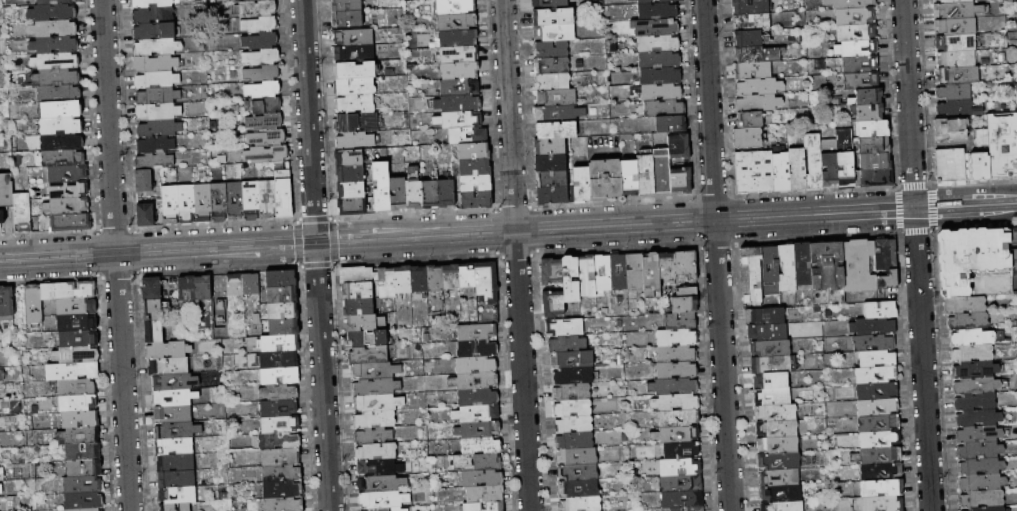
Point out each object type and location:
building: (255, 0)
building: (946, 1)
building: (54, 2)
building: (644, 2)
building: (150, 3)
building: (847, 3)
building: (549, 4)
building: (344, 5)
building: (454, 6)
building: (749, 6)
building: (257, 9)
building: (955, 10)
building: (658, 11)
building: (52, 12)
building: (151, 14)
building: (854, 16)
building: (553, 17)
building: (345, 19)
building: (750, 22)
building: (444, 23)
building: (259, 25)
building: (953, 26)
building: (53, 28)
building: (655, 28)
building: (152, 30)
building: (855, 32)
building: (553, 33)
building: (340, 38)
building: (456, 38)
building: (746, 38)
building: (260, 41)
building: (953, 42)
building: (658, 43)
building: (54, 44)
building: (155, 47)
building: (855, 48)
building: (549, 50)
building: (353, 54)
building: (457, 54)
building: (756, 54)
building: (261, 57)
building: (954, 59)
building: (54, 60)
building: (658, 60)
building: (154, 63)
building: (858, 64)
building: (551, 65)
building: (353, 70)
building: (458, 70)
building: (752, 70)
building: (261, 74)
building: (956, 75)
building: (660, 76)
building: (56, 77)
building: (155, 80)
building: (859, 80)
building: (552, 81)
building: (353, 86)
building: (758, 86)
building: (458, 87)
building: (262, 90)
building: (660, 92)
building: (951, 92)
building: (58, 93)
building: (156, 96)
building: (867, 96)
building: (556, 97)
building: (756, 102)
building: (456, 103)
building: (353, 104)
road: (908, 104)
building: (266, 106)
building: (663, 108)
building: (956, 108)
building: (61, 109)
road: (708, 109)
building: (157, 112)
building: (869, 112)
building: (558, 113)
road: (508, 115)
building: (457, 119)
building: (748, 119)
road: (308, 120)
building: (264, 122)
building: (345, 123)
building: (670, 124)
building: (60, 125)
road: (108, 126)
building: (158, 128)
building: (871, 129)
building: (948, 129)
building: (555, 130)
building: (456, 135)
building: (746, 137)
building: (979, 137)
building: (266, 138)
building: (352, 140)
building: (61, 141)
building: (154, 144)
building: (872, 144)
building: (1002, 145)
building: (549, 147)
building: (679, 147)
building: (472, 151)
building: (266, 155)
building: (62, 157)
building: (347, 158)
building: (843, 158)
building: (152, 161)
building: (812, 161)
building: (873, 161)
building: (550, 163)
building: (951, 166)
building: (979, 166)
building: (473, 167)
building: (796, 169)
building: (828, 169)
building: (661, 170)
building: (752, 171)
building: (780, 171)
building: (64, 173)
building: (348, 173)
building: (282, 174)
building: (645, 175)
building: (628, 178)
building: (873, 178)
building: (551, 179)
building: (604, 179)
building: (680, 180)
building: (143, 181)
road: (975, 181)
building: (474, 183)
road: (914, 184)
building: (581, 185)
building: (379, 186)
building: (57, 190)
building: (349, 190)
road: (962, 190)
road: (815, 191)
building: (396, 193)
building: (444, 193)
building: (5, 194)
building: (412, 194)
building: (428, 194)
building: (551, 195)
building: (283, 197)
road: (713, 197)
railway: (937, 198)
building: (266, 199)
road: (935, 199)
building: (250, 200)
building: (474, 200)
building: (238, 201)
road: (612, 202)
building: (195, 203)
building: (222, 203)
building: (66, 204)
building: (180, 204)
building: (173, 205)
road: (965, 205)
building: (350, 206)
road: (934, 207)
road: (514, 208)
road: (898, 209)
building: (22, 212)
road: (414, 213)
road: (814, 214)
railway: (982, 214)
building: (145, 215)
road: (936, 216)
road: (314, 219)
road: (734, 219)
building: (70, 221)
road: (694, 221)
road: (964, 221)
road: (385, 223)
road: (214, 224)
road: (614, 225)
railway: (508, 228)
road: (976, 228)
road: (114, 229)
railway: (337, 230)
road: (533, 230)
road: (916, 231)
road: (335, 232)
road: (497, 232)
road: (48, 233)
railway: (508, 234)
road: (415, 236)
road: (817, 237)
road: (333, 240)
road: (297, 242)
road: (715, 243)
road: (215, 247)
road: (615, 248)
railway: (293, 250)
building: (974, 250)
road: (134, 252)
road: (295, 252)
road: (98, 254)
road: (516, 254)
road: (5, 256)
road: (57, 256)
building: (1014, 258)
road: (315, 259)
road: (416, 259)
road: (246, 260)
building: (886, 263)
road: (316, 264)
building: (686, 264)
building: (803, 264)
building: (859, 265)
building: (667, 266)
building: (827, 266)
building: (787, 268)
road: (217, 271)
building: (770, 271)
building: (551, 272)
building: (618, 272)
building: (603, 273)
building: (635, 273)
building: (356, 275)
road: (117, 276)
building: (451, 276)
building: (467, 276)
building: (587, 276)
building: (751, 276)
building: (435, 278)
building: (281, 279)
building: (419, 279)
building: (571, 279)
road: (50, 280)
building: (403, 280)
building: (486, 280)
building: (387, 283)
building: (251, 284)
building: (652, 284)
building: (976, 284)
building: (235, 285)
road: (116, 286)
building: (152, 288)
building: (203, 288)
building: (187, 289)
building: (68, 290)
building: (358, 291)
building: (687, 292)
building: (282, 295)
building: (6, 301)
building: (34, 304)
building: (553, 304)
building: (685, 305)
building: (964, 305)
building: (77, 307)
building: (359, 307)
building: (153, 310)
building: (881, 310)
building: (283, 311)
building: (765, 316)
building: (681, 322)
building: (968, 322)
building: (77, 323)
building: (365, 323)
building: (283, 327)
building: (565, 327)
building: (873, 327)
building: (154, 332)
building: (476, 332)
building: (768, 332)
building: (367, 337)
building: (677, 338)
building: (973, 338)
building: (79, 339)
building: (874, 343)
building: (280, 344)
building: (567, 344)
building: (771, 348)
building: (477, 349)
building: (168, 350)
building: (369, 354)
building: (676, 354)
building: (973, 354)
building: (76, 355)
building: (878, 359)
building: (279, 360)
building: (573, 360)
road: (922, 360)
building: (476, 365)
road: (722, 365)
building: (771, 365)
building: (168, 366)
building: (375, 370)
road: (523, 370)
building: (677, 370)
building: (975, 371)
building: (73, 372)
building: (877, 375)
building: (280, 376)
building: (573, 376)
building: (175, 381)
building: (474, 381)
building: (771, 381)
building: (76, 387)
building: (376, 387)
building: (673, 387)
building: (974, 387)
building: (877, 391)
building: (279, 392)
building: (572, 392)
road: (323, 393)
building: (772, 397)
building: (175, 398)
building: (478, 398)
building: (77, 402)
building: (975, 402)
building: (378, 403)
building: (677, 403)
building: (879, 407)
building: (279, 408)
building: (573, 408)
building: (776, 413)
building: (173, 414)
building: (477, 414)
road: (124, 415)
building: (679, 418)
building: (80, 419)
building: (977, 419)
building: (375, 420)
building: (879, 423)
building: (280, 424)
building: (574, 425)
building: (777, 429)
building: (478, 430)
building: (178, 431)
building: (677, 435)
building: (978, 435)
building: (81, 436)
building: (374, 436)
building: (880, 439)
building: (279, 441)
building: (574, 441)
building: (778, 445)
building: (481, 446)
building: (175, 447)
building: (681, 451)
building: (979, 451)
building: (84, 452)
building: (376, 452)
building: (577, 456)
building: (877, 456)
building: (281, 457)
building: (779, 461)
building: (478, 462)
building: (175, 463)
building: (680, 467)
building: (981, 467)
building: (84, 468)
building: (380, 468)
building: (882, 472)
building: (578, 473)
building: (0, 474)
building: (282, 474)
building: (780, 478)
building: (483, 479)
building: (176, 480)
building: (982, 483)
building: (381, 484)
building: (681, 484)
building: (83, 485)
building: (882, 488)
building: (1, 489)
building: (579, 489)
building: (283, 490)
building: (485, 494)
building: (782, 494)
building: (178, 495)
building: (982, 499)
building: (384, 500)
building: (682, 500)
building: (84, 501)
building: (1, 502)
building: (284, 504)
building: (582, 504)
building: (882, 504)
building: (782, 506)
building: (176, 507)
building: (485, 507)
building: (390, 509)
building: (689, 509)
building: (987, 509)
building: (88, 510)

